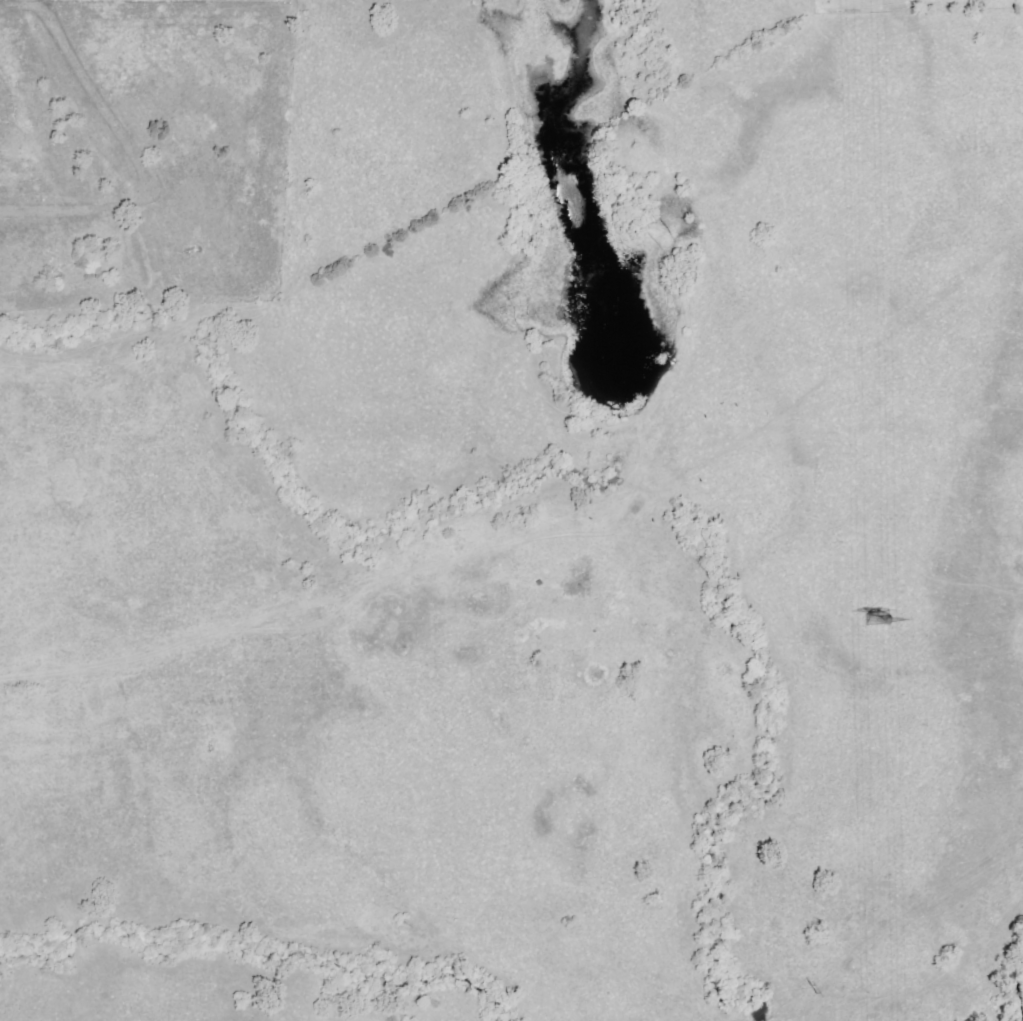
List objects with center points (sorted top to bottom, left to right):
power tower: (875, 618)
power tower: (811, 991)

